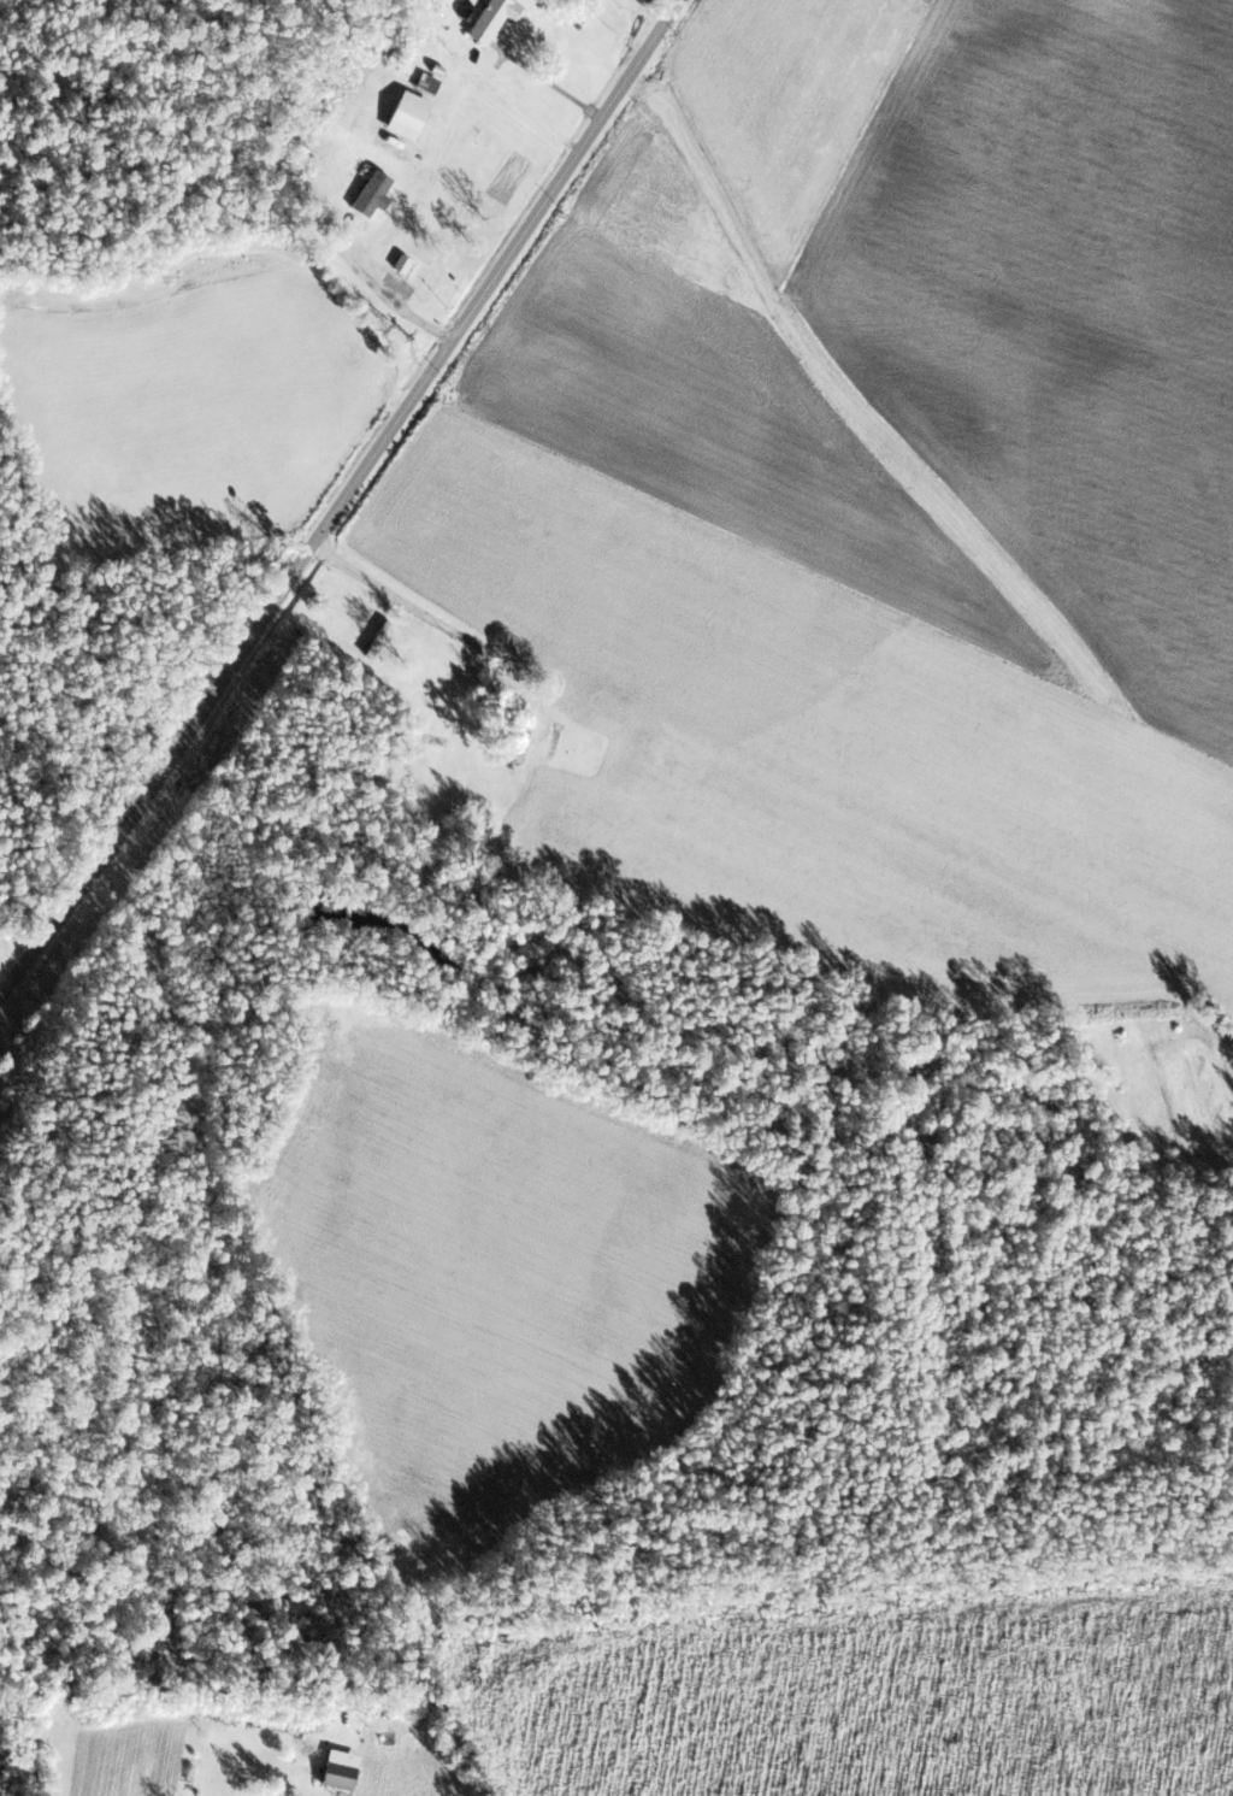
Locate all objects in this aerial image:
building: (922, 1)
road: (660, 8)
building: (492, 19)
building: (429, 83)
building: (407, 116)
road: (284, 188)
building: (402, 265)
road: (348, 496)
building: (377, 640)
building: (338, 1769)

